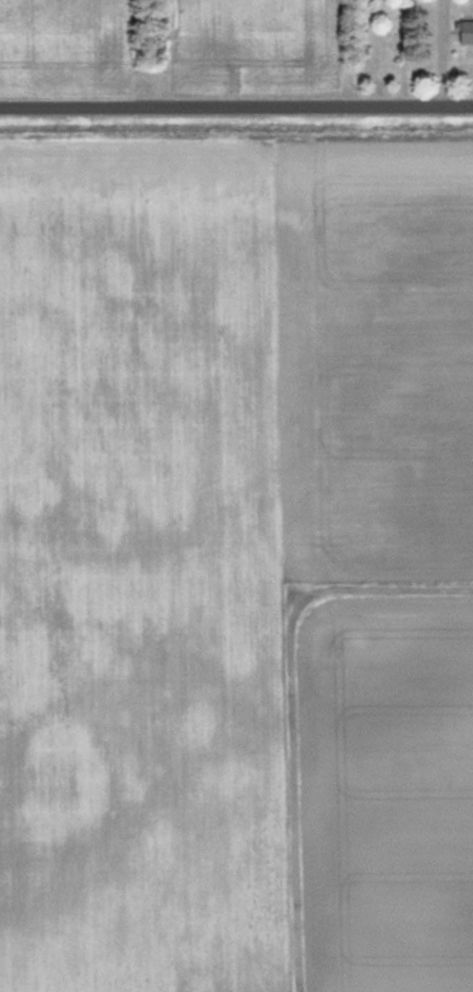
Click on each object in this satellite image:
building: (466, 30)
road: (440, 52)
road: (236, 105)

